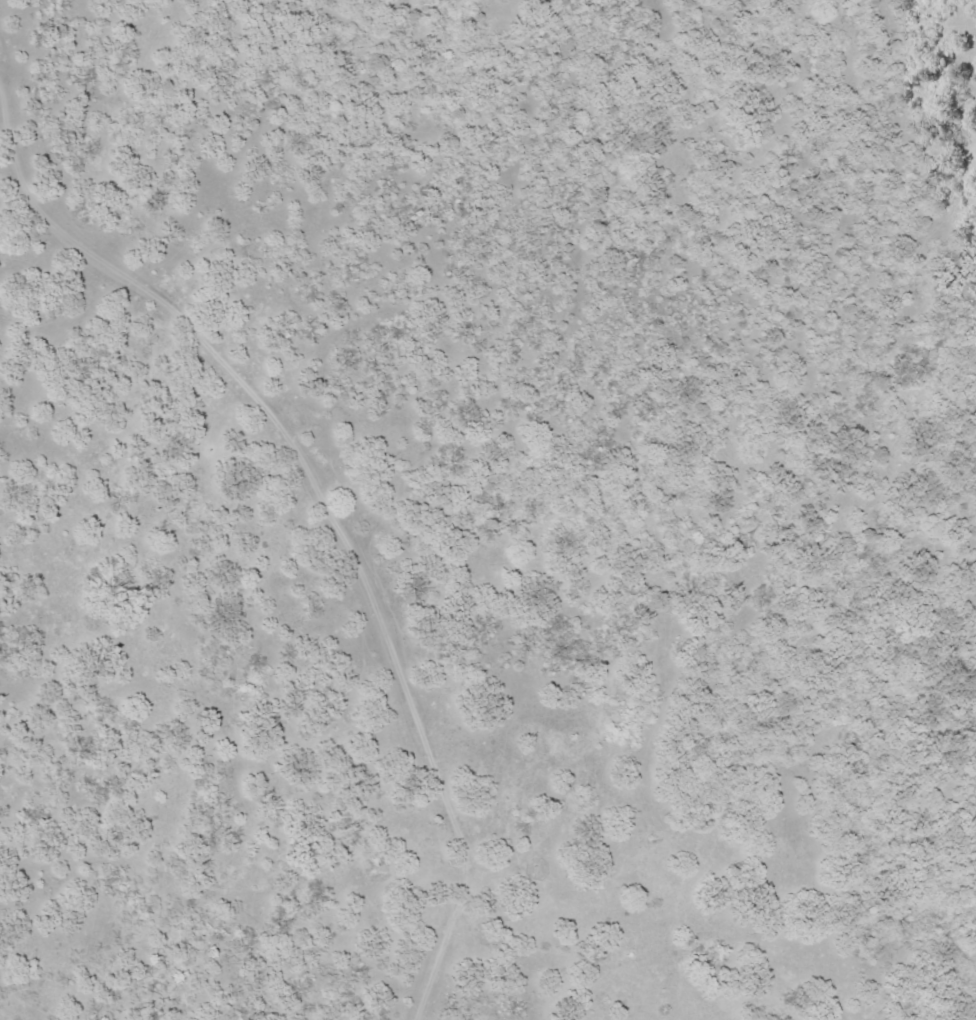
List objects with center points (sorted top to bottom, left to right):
road: (41, 346)
road: (330, 514)

